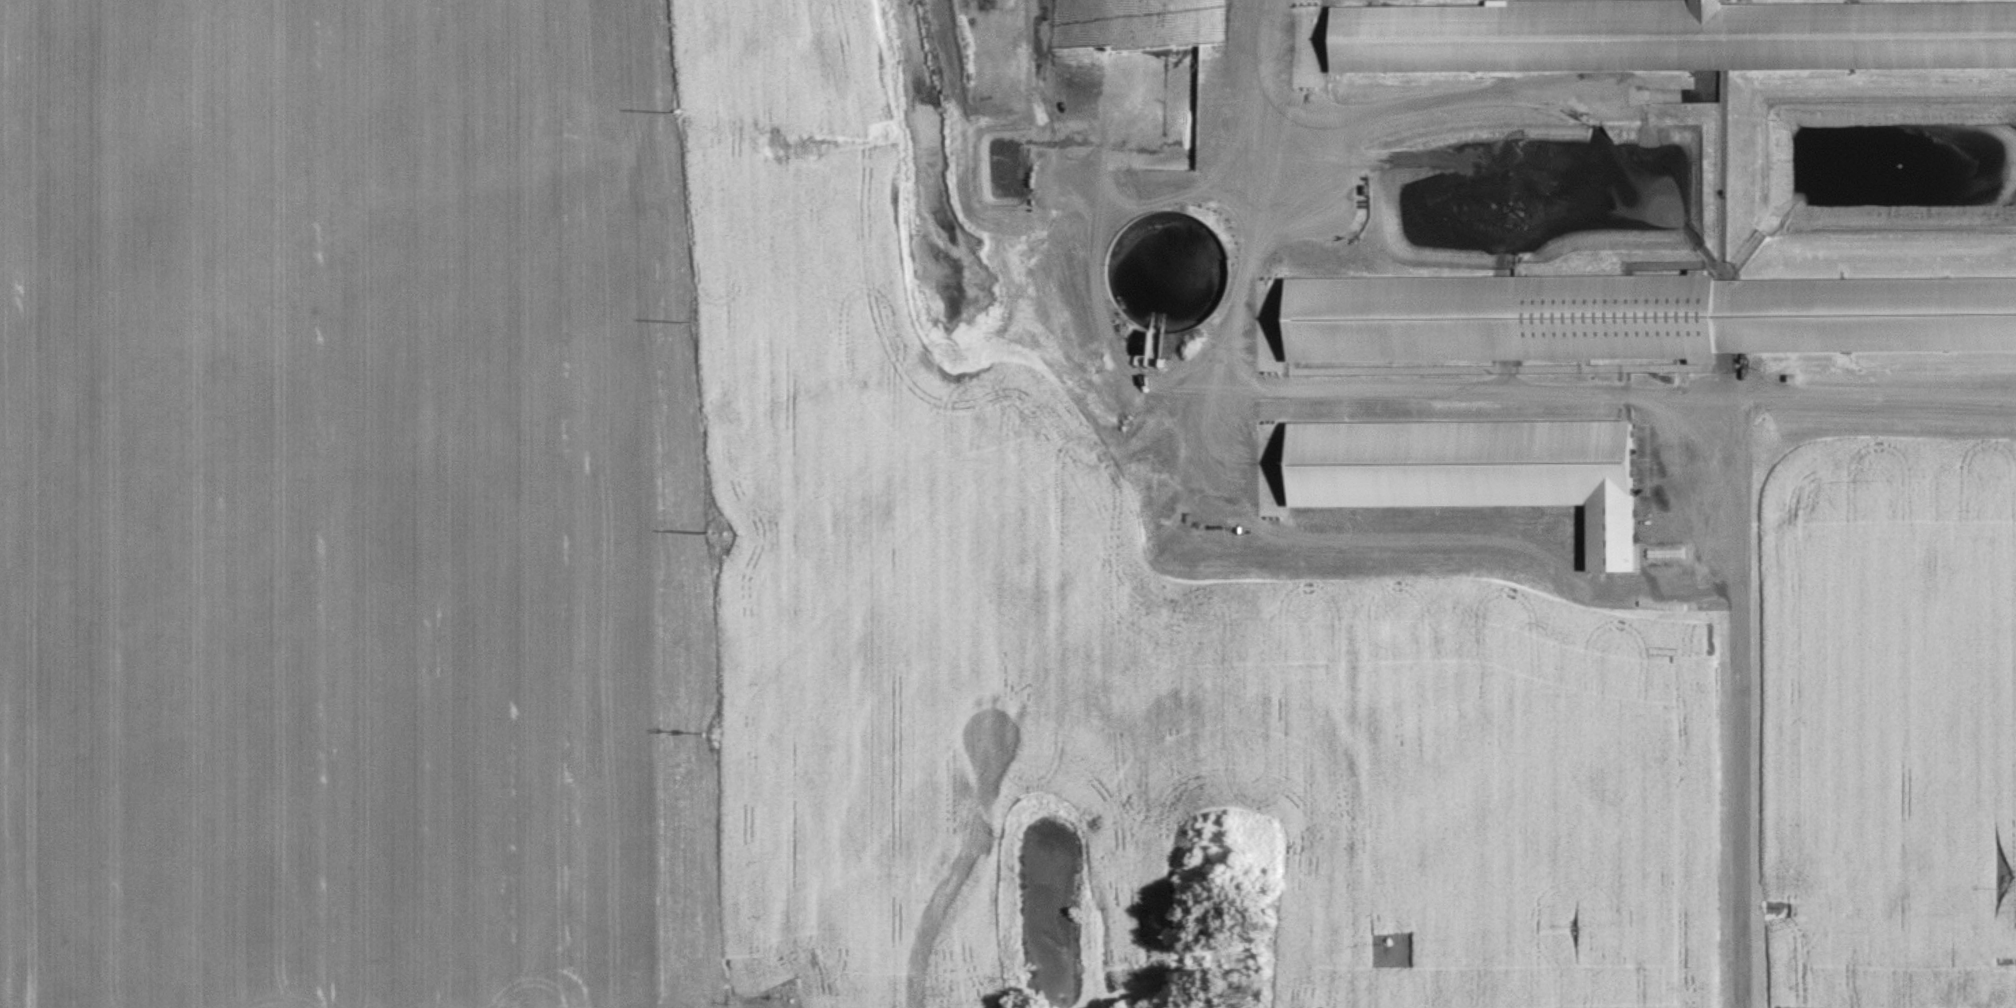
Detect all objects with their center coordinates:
building: (1962, 38)
building: (1136, 86)
building: (1987, 319)
building: (1586, 321)
road: (1297, 391)
road: (1879, 401)
road: (1742, 707)
building: (1976, 988)

